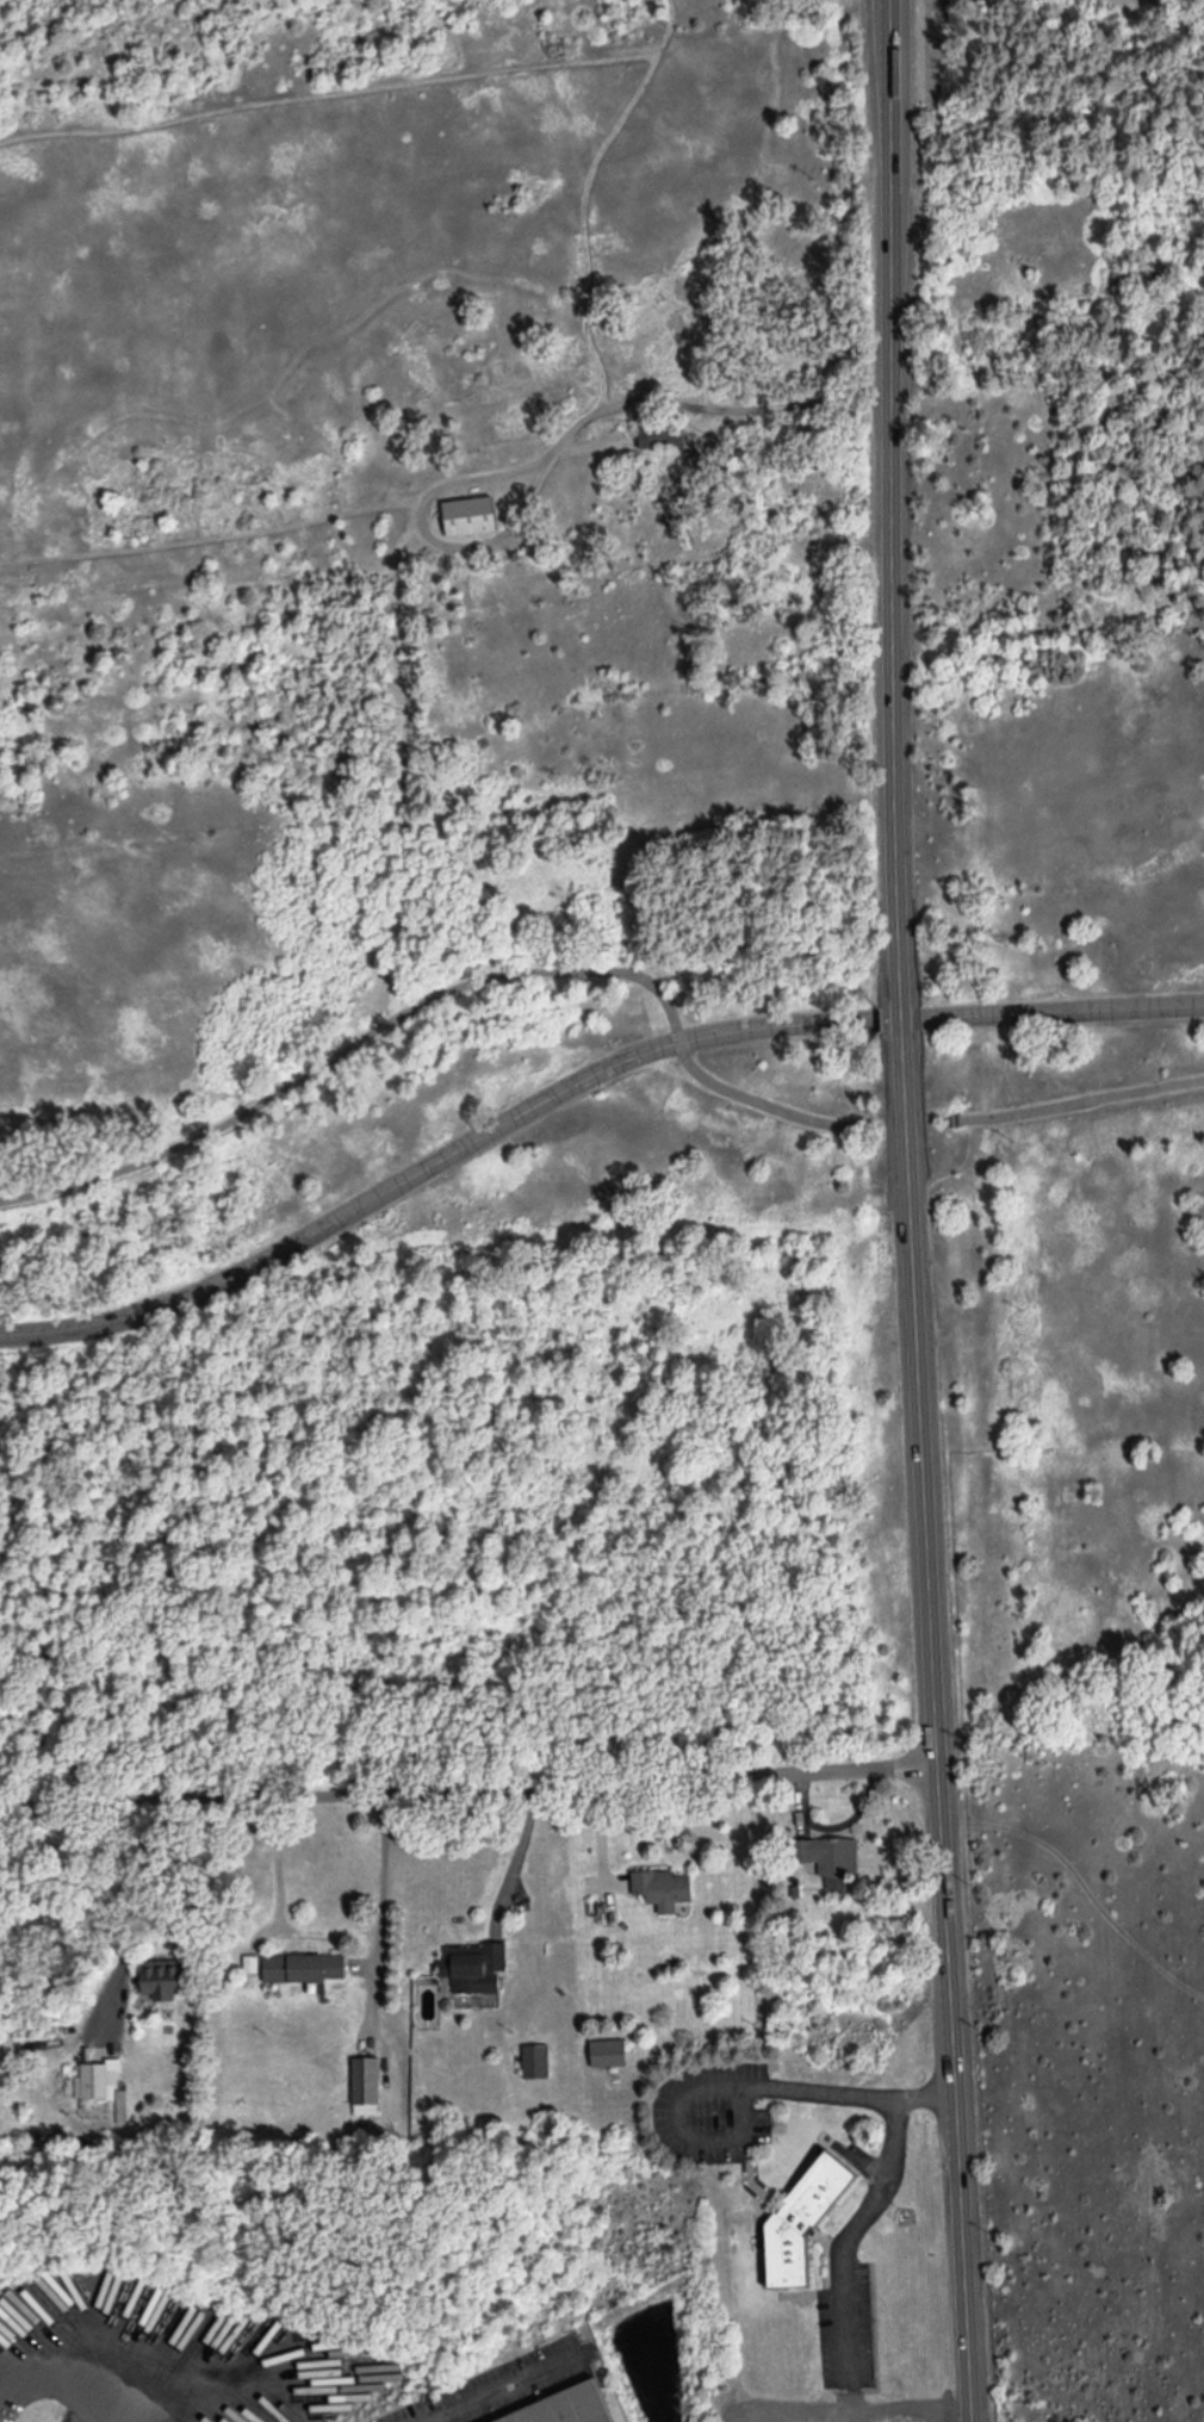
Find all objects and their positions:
road: (328, 92)
road: (585, 195)
building: (660, 431)
road: (559, 445)
road: (600, 445)
road: (894, 501)
building: (470, 511)
road: (213, 536)
road: (396, 658)
park: (632, 962)
road: (439, 990)
road: (905, 1017)
road: (577, 1079)
road: (1082, 1101)
road: (908, 1122)
road: (957, 1166)
road: (857, 1182)
road: (936, 1727)
road: (468, 1784)
road: (519, 1850)
building: (830, 1856)
road: (138, 1868)
road: (279, 1876)
road: (383, 1877)
road: (1082, 1883)
building: (662, 1886)
building: (250, 1961)
building: (473, 1964)
building: (303, 1965)
building: (161, 1977)
building: (607, 2050)
building: (535, 2058)
building: (101, 2082)
building: (365, 2083)
road: (745, 2083)
building: (801, 2217)
road: (852, 2232)
road: (15, 2355)
road: (13, 2381)
road: (503, 2384)
road: (68, 2385)
building: (569, 2408)
road: (1203, 2418)

